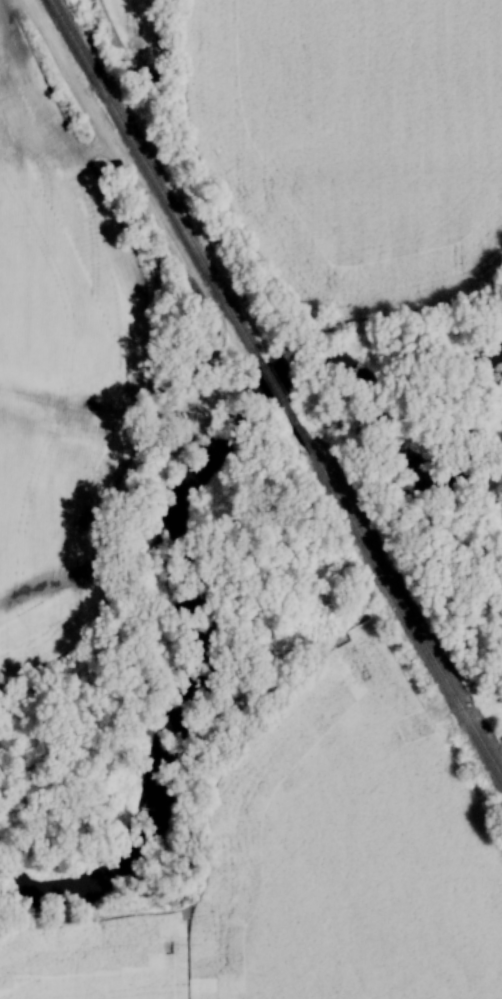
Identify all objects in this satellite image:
railway: (160, 180)
railway: (284, 386)
river: (191, 502)
railway: (400, 588)

